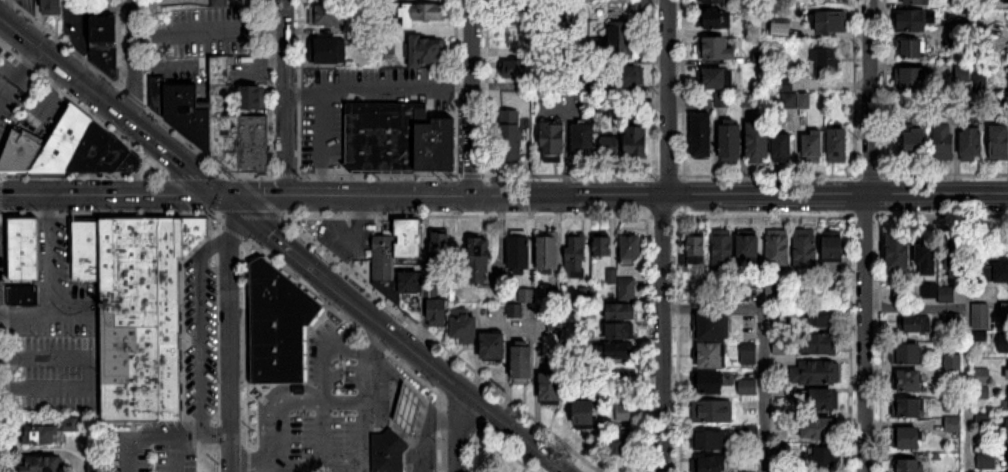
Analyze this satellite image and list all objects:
building: (715, 1)
building: (1005, 1)
building: (219, 2)
building: (917, 2)
building: (52, 7)
building: (526, 12)
building: (423, 13)
road: (134, 15)
building: (329, 17)
building: (718, 19)
building: (912, 20)
building: (831, 21)
road: (5, 28)
building: (963, 28)
road: (209, 30)
parking lot: (211, 33)
building: (616, 42)
building: (106, 43)
building: (963, 46)
building: (717, 49)
building: (915, 49)
building: (328, 51)
building: (427, 52)
building: (827, 61)
building: (523, 69)
road: (16, 71)
road: (134, 75)
building: (963, 75)
building: (630, 77)
building: (716, 79)
building: (913, 79)
building: (220, 86)
road: (362, 92)
road: (284, 97)
parking lot: (15, 98)
road: (474, 98)
road: (114, 105)
building: (191, 115)
building: (703, 135)
building: (383, 136)
building: (510, 136)
building: (227, 141)
building: (759, 141)
building: (66, 142)
building: (554, 142)
building: (585, 142)
building: (639, 142)
building: (945, 142)
road: (322, 143)
building: (732, 143)
building: (1000, 143)
building: (253, 144)
road: (566, 144)
building: (917, 144)
building: (973, 144)
building: (611, 146)
building: (814, 146)
building: (839, 146)
building: (785, 148)
building: (22, 154)
building: (106, 154)
road: (114, 194)
traffic signals: (229, 196)
road: (618, 197)
road: (664, 235)
road: (868, 236)
building: (408, 238)
parking lot: (347, 241)
road: (214, 247)
building: (604, 247)
building: (750, 248)
building: (779, 248)
building: (26, 249)
building: (441, 249)
building: (723, 249)
building: (806, 249)
building: (834, 249)
building: (632, 250)
building: (697, 252)
building: (520, 254)
building: (549, 254)
building: (899, 254)
building: (927, 255)
building: (576, 257)
building: (383, 258)
building: (481, 261)
building: (958, 262)
building: (1002, 272)
road: (50, 280)
building: (409, 287)
building: (627, 290)
building: (928, 291)
building: (902, 294)
building: (947, 295)
building: (25, 296)
building: (140, 309)
building: (622, 311)
building: (438, 313)
building: (1006, 314)
building: (818, 316)
building: (982, 316)
building: (913, 324)
building: (280, 326)
building: (466, 326)
building: (714, 327)
building: (621, 331)
road: (230, 334)
road: (393, 334)
road: (762, 340)
road: (966, 340)
road: (200, 342)
building: (1003, 343)
building: (806, 344)
building: (494, 347)
building: (616, 351)
building: (907, 354)
building: (712, 356)
building: (523, 363)
building: (953, 369)
road: (90, 372)
building: (816, 372)
parking lot: (54, 375)
building: (621, 376)
building: (909, 381)
building: (712, 383)
building: (552, 384)
building: (824, 399)
road: (318, 401)
building: (953, 404)
parking lot: (317, 408)
building: (409, 408)
building: (908, 408)
building: (712, 411)
building: (585, 412)
building: (624, 412)
building: (953, 423)
building: (820, 428)
road: (455, 429)
building: (1007, 430)
road: (216, 431)
road: (142, 433)
building: (908, 438)
building: (709, 440)
building: (624, 442)
building: (389, 450)
building: (824, 457)
building: (709, 463)
building: (43, 464)
road: (358, 464)
building: (911, 465)
building: (749, 467)

